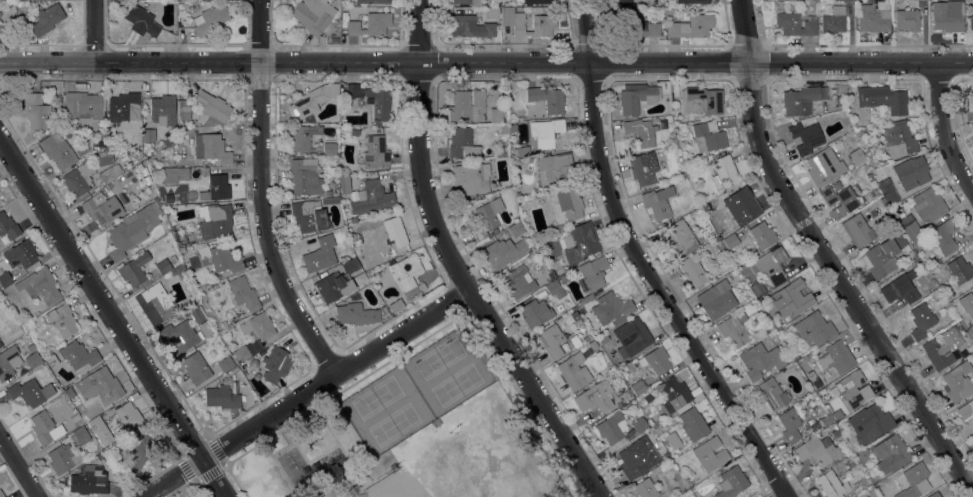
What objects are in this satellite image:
building: (844, 0)
building: (372, 1)
building: (536, 1)
building: (692, 1)
building: (467, 2)
building: (497, 2)
building: (620, 2)
building: (837, 9)
building: (492, 13)
building: (312, 15)
building: (947, 16)
building: (47, 19)
building: (209, 19)
building: (873, 20)
building: (906, 20)
building: (141, 21)
building: (832, 23)
building: (970, 23)
building: (368, 24)
building: (533, 24)
building: (794, 24)
building: (469, 26)
building: (691, 26)
building: (633, 27)
building: (2, 30)
road: (93, 30)
building: (334, 40)
road: (486, 61)
road: (504, 78)
road: (673, 78)
building: (354, 90)
building: (636, 98)
building: (546, 99)
building: (883, 99)
building: (312, 100)
building: (701, 100)
building: (801, 100)
building: (377, 105)
building: (467, 105)
building: (82, 106)
building: (123, 107)
building: (212, 108)
building: (970, 109)
building: (162, 110)
building: (37, 111)
building: (185, 112)
road: (955, 114)
building: (496, 115)
road: (945, 126)
building: (641, 131)
building: (354, 132)
building: (544, 133)
building: (673, 134)
building: (100, 135)
building: (148, 135)
building: (302, 136)
building: (806, 137)
building: (708, 138)
building: (459, 140)
building: (898, 140)
building: (167, 141)
road: (778, 145)
building: (211, 148)
building: (329, 149)
building: (57, 150)
building: (522, 151)
building: (375, 152)
building: (857, 156)
building: (823, 166)
building: (555, 169)
building: (642, 169)
building: (911, 172)
building: (110, 173)
building: (725, 173)
building: (126, 174)
building: (173, 175)
building: (304, 176)
building: (870, 177)
building: (79, 178)
building: (120, 178)
building: (469, 178)
building: (344, 184)
building: (109, 185)
building: (216, 188)
building: (887, 190)
building: (328, 193)
road: (261, 195)
building: (122, 197)
building: (371, 197)
building: (841, 198)
building: (330, 200)
building: (657, 202)
building: (569, 203)
building: (928, 205)
building: (741, 206)
building: (101, 208)
building: (309, 216)
building: (214, 220)
building: (484, 220)
building: (8, 226)
building: (909, 226)
building: (133, 228)
building: (516, 229)
building: (857, 229)
building: (394, 231)
building: (762, 235)
building: (944, 237)
building: (679, 238)
building: (731, 241)
building: (580, 242)
building: (906, 248)
building: (503, 252)
building: (20, 254)
building: (320, 254)
building: (883, 256)
building: (172, 258)
building: (215, 258)
road: (826, 258)
building: (933, 263)
road: (643, 264)
building: (768, 265)
building: (162, 266)
building: (348, 266)
road: (456, 266)
building: (134, 269)
building: (960, 269)
building: (692, 270)
building: (180, 271)
building: (407, 274)
building: (593, 275)
building: (360, 278)
building: (563, 278)
building: (5, 279)
building: (518, 281)
building: (40, 285)
building: (333, 287)
building: (757, 288)
building: (555, 289)
building: (899, 289)
building: (196, 291)
building: (243, 293)
building: (191, 297)
building: (716, 299)
building: (791, 299)
building: (154, 303)
building: (967, 304)
building: (395, 305)
building: (611, 308)
building: (383, 310)
building: (535, 313)
building: (355, 314)
building: (196, 315)
building: (387, 315)
building: (575, 315)
road: (112, 316)
building: (62, 320)
building: (920, 320)
building: (223, 324)
building: (258, 326)
building: (813, 328)
building: (205, 329)
building: (733, 329)
building: (632, 335)
building: (957, 335)
building: (587, 336)
building: (180, 337)
road: (422, 338)
building: (603, 339)
building: (558, 340)
building: (0, 343)
building: (593, 344)
building: (247, 350)
building: (78, 354)
building: (937, 354)
building: (836, 357)
building: (789, 358)
building: (32, 359)
building: (51, 360)
building: (655, 360)
building: (760, 360)
building: (8, 361)
building: (225, 363)
building: (275, 364)
building: (196, 368)
building: (234, 370)
building: (574, 371)
building: (811, 375)
building: (957, 382)
building: (99, 386)
building: (637, 386)
building: (849, 388)
park: (418, 390)
building: (30, 392)
road: (306, 392)
building: (673, 393)
building: (772, 394)
building: (221, 395)
building: (624, 396)
building: (593, 398)
building: (966, 410)
building: (84, 415)
building: (836, 415)
building: (75, 417)
building: (127, 418)
building: (97, 423)
building: (869, 423)
building: (639, 425)
building: (692, 425)
building: (789, 425)
building: (816, 425)
building: (43, 427)
building: (611, 427)
building: (835, 433)
building: (82, 434)
park: (411, 435)
water park: (317, 442)
building: (95, 448)
building: (817, 451)
building: (88, 453)
building: (137, 453)
building: (388, 453)
building: (709, 454)
building: (862, 454)
building: (892, 454)
building: (100, 456)
building: (636, 457)
building: (64, 458)
building: (377, 460)
building: (393, 466)
road: (18, 467)
park: (467, 468)
park: (467, 468)
building: (898, 471)
road: (365, 477)
building: (912, 479)
building: (89, 480)
building: (731, 482)
building: (831, 484)
building: (645, 488)
road: (335, 493)
building: (1, 494)
building: (934, 495)
road: (786, 496)
building: (854, 496)
building: (855, 496)

